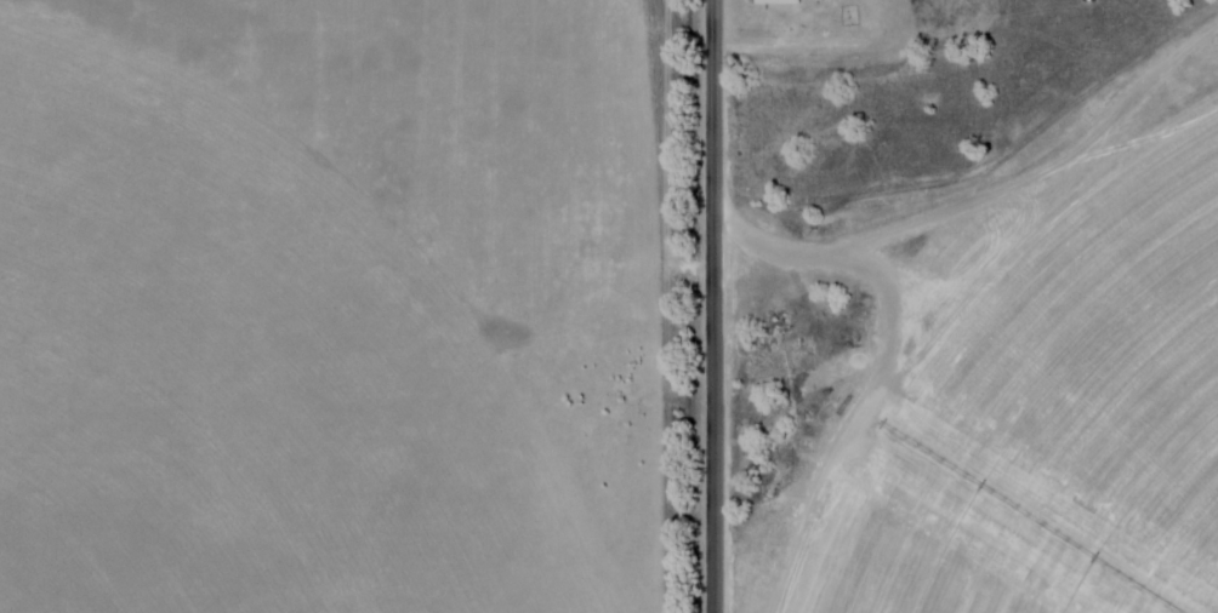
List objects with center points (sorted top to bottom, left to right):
building: (775, 2)
road: (717, 306)

